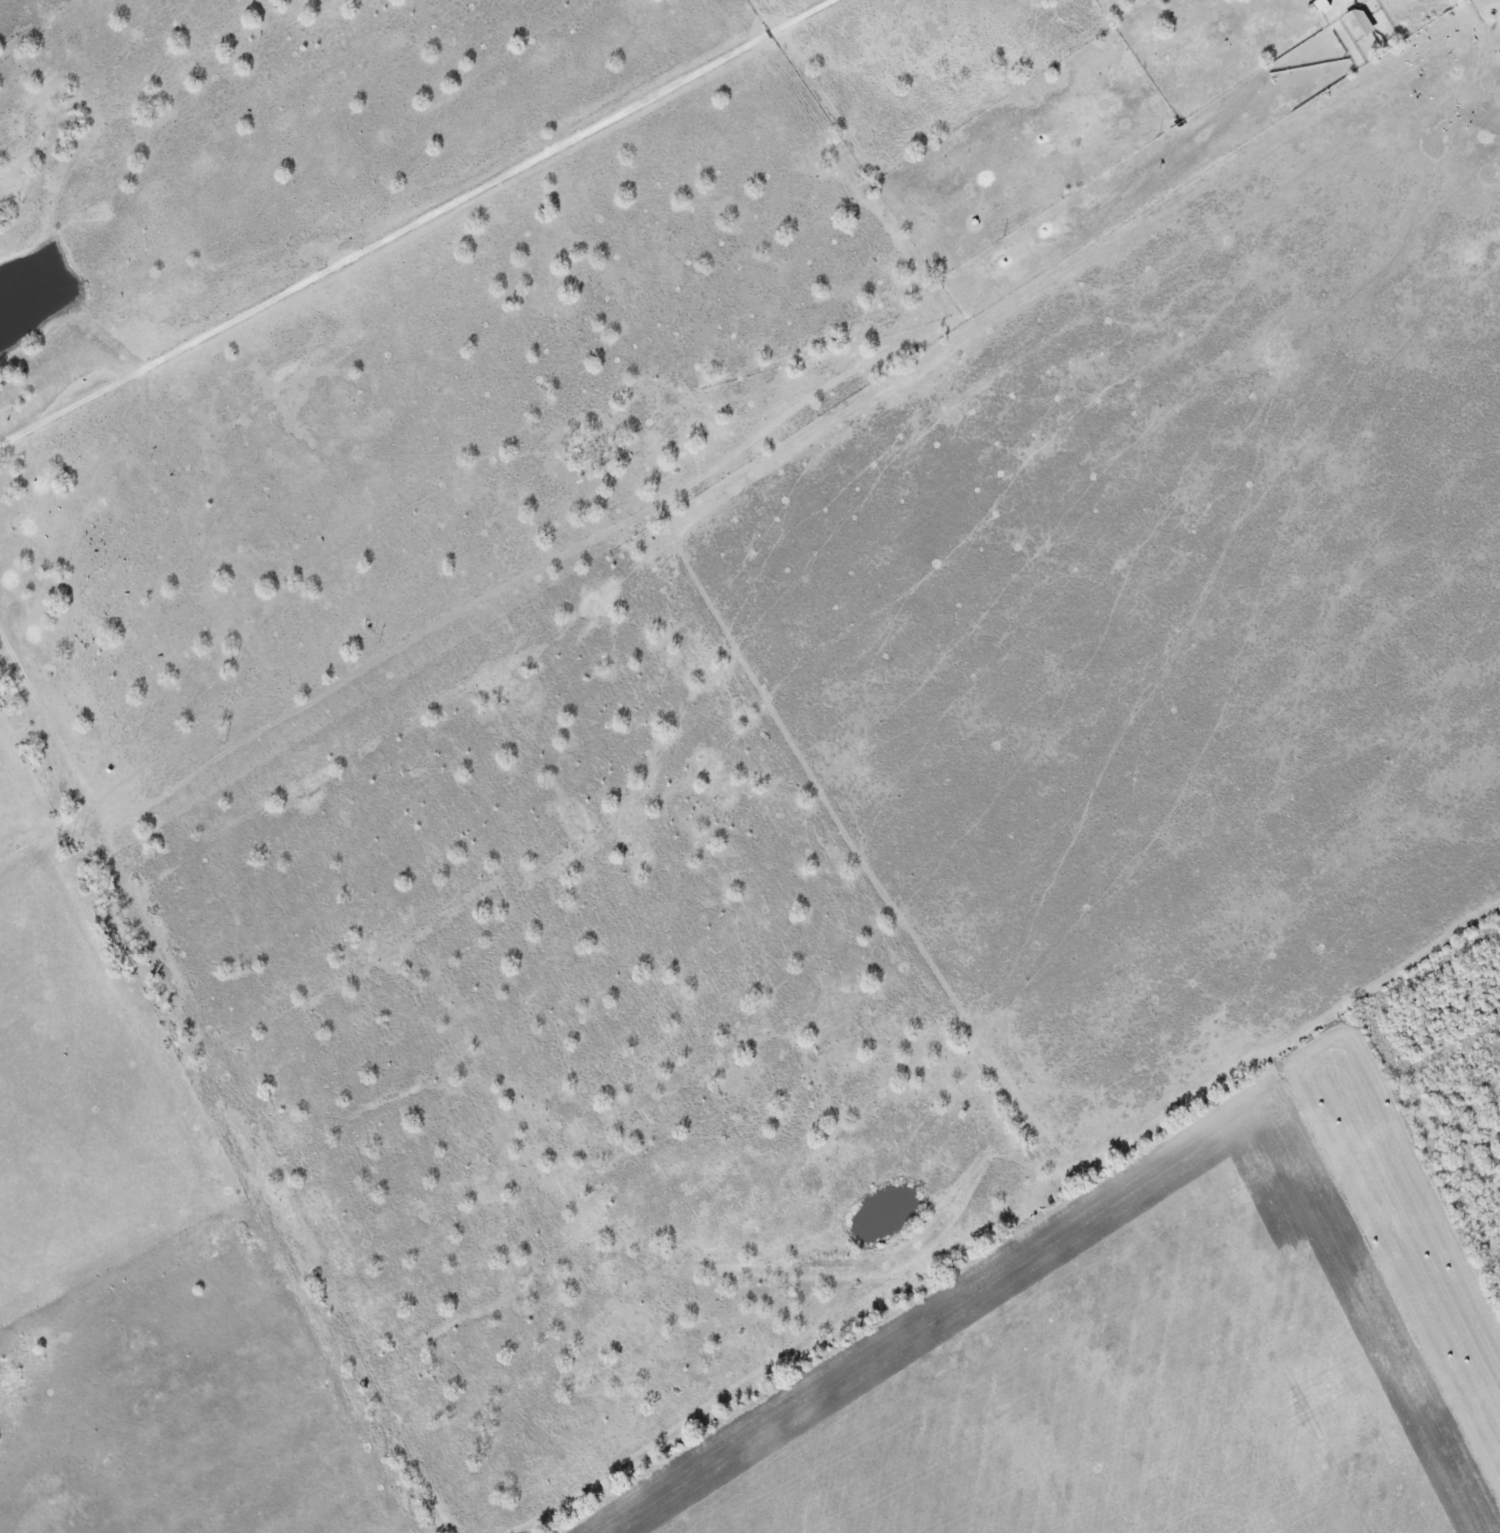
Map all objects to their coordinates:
road: (1460, 2)
building: (1356, 20)
road: (414, 221)

